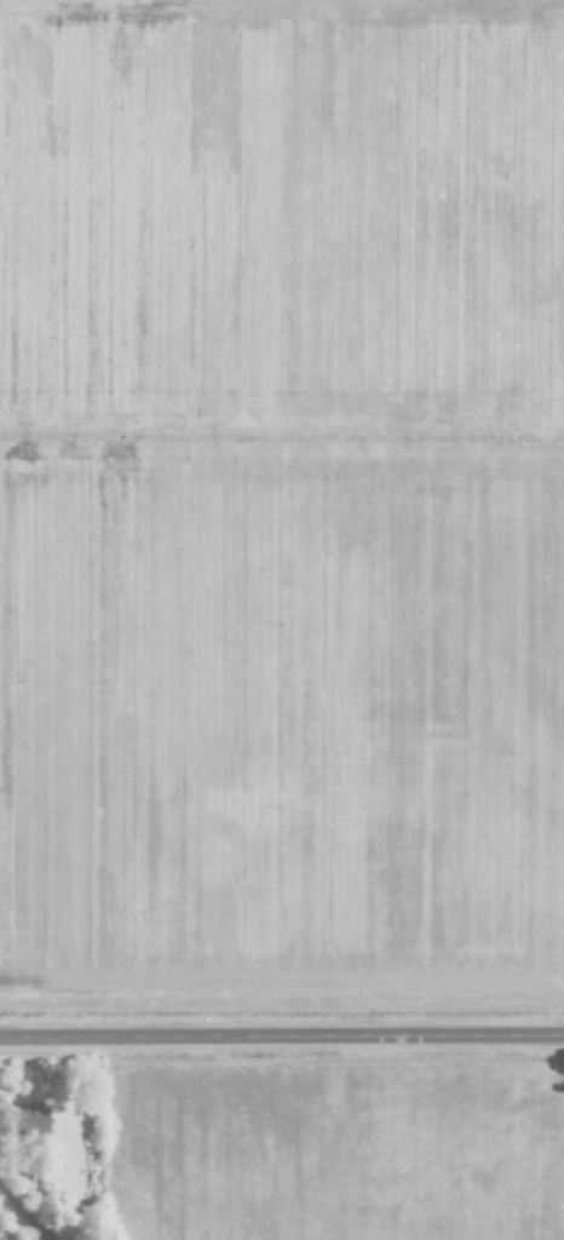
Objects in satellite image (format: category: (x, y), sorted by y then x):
road: (282, 1034)
building: (27, 1120)
road: (25, 1207)

